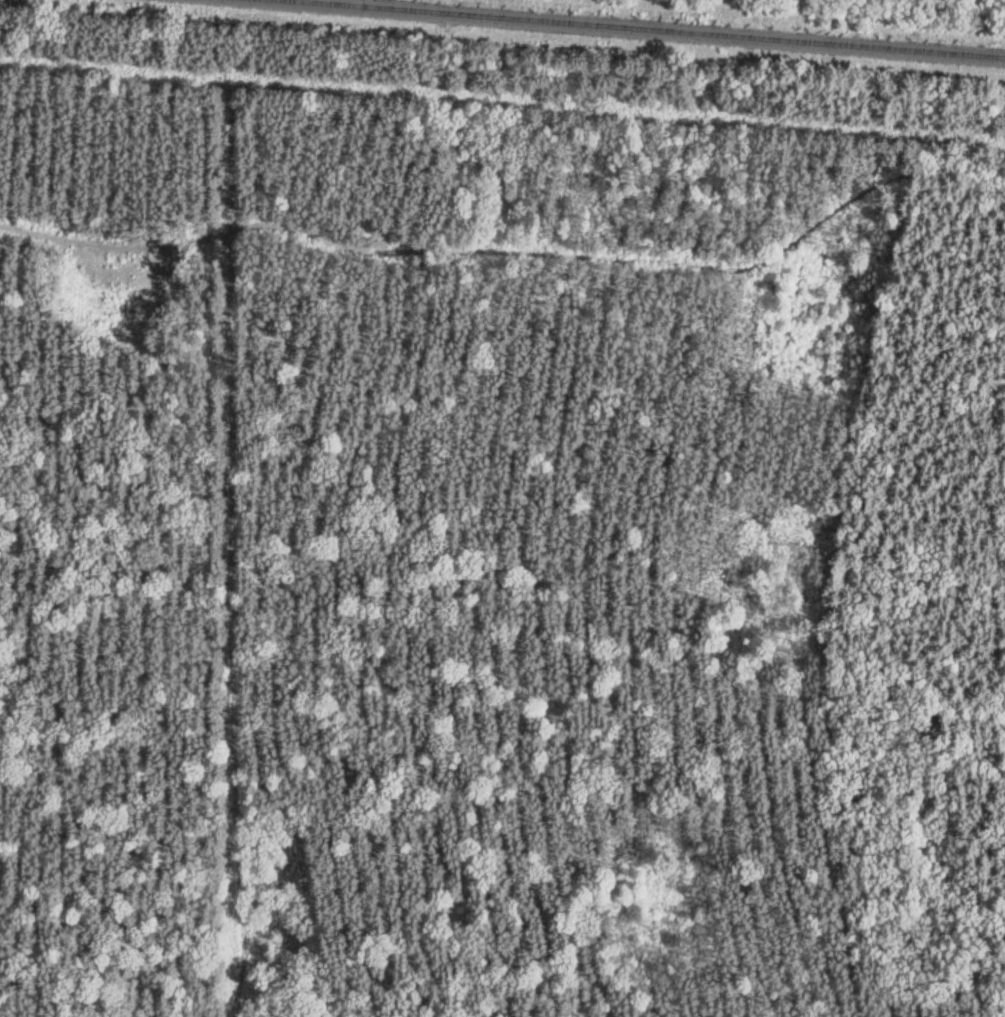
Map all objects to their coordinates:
railway: (627, 29)

